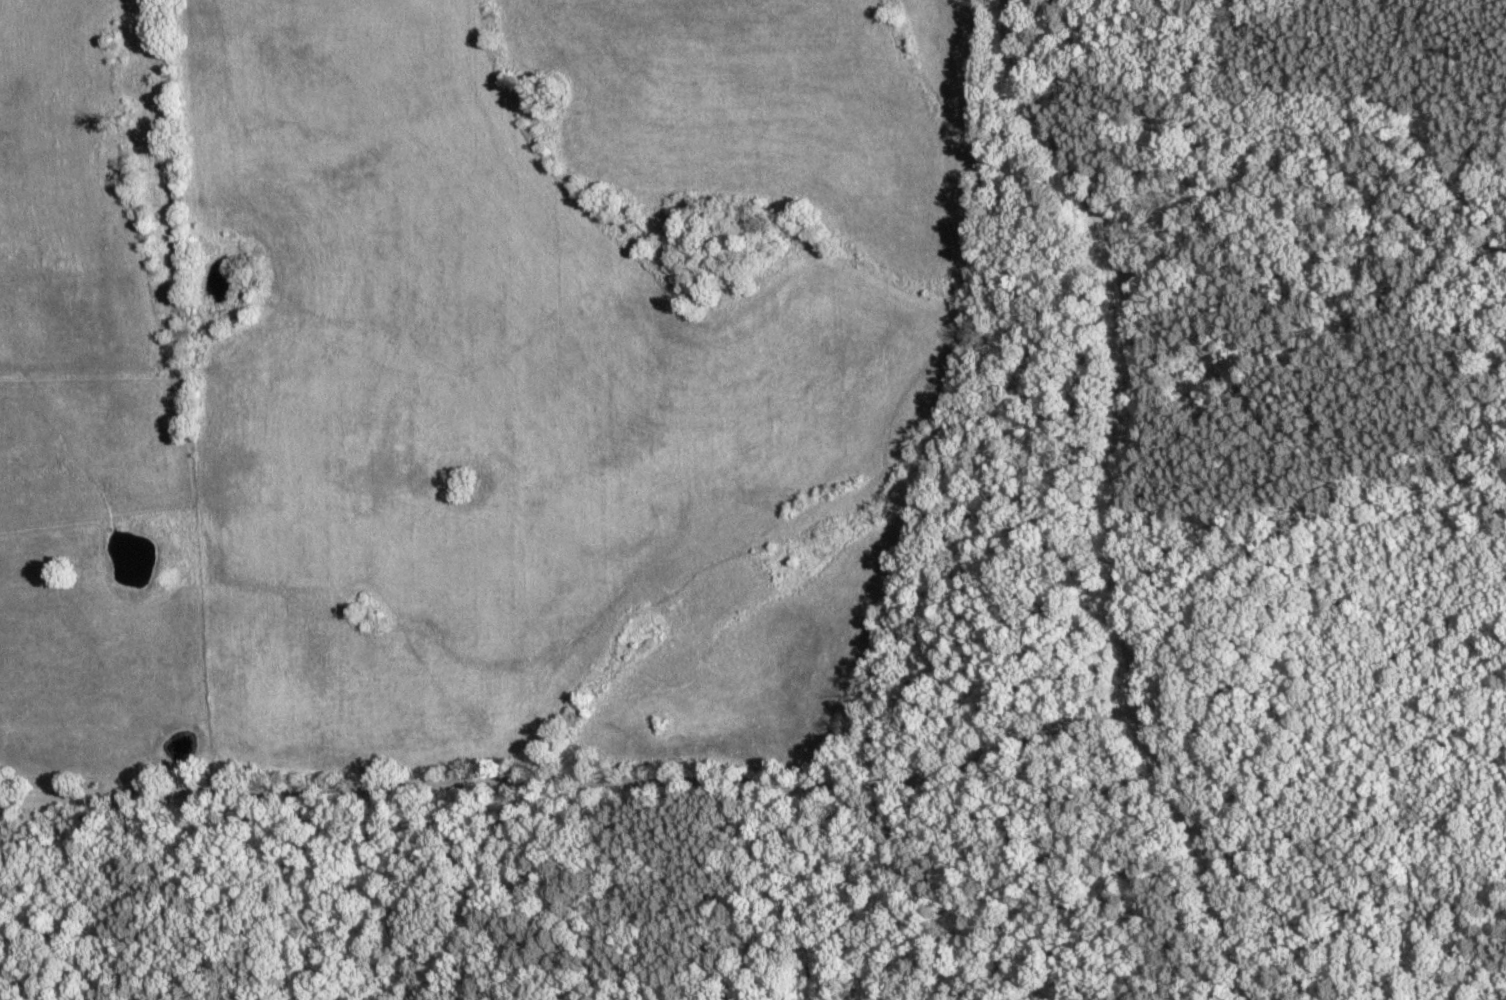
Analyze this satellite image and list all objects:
road: (1117, 494)
road: (564, 778)

